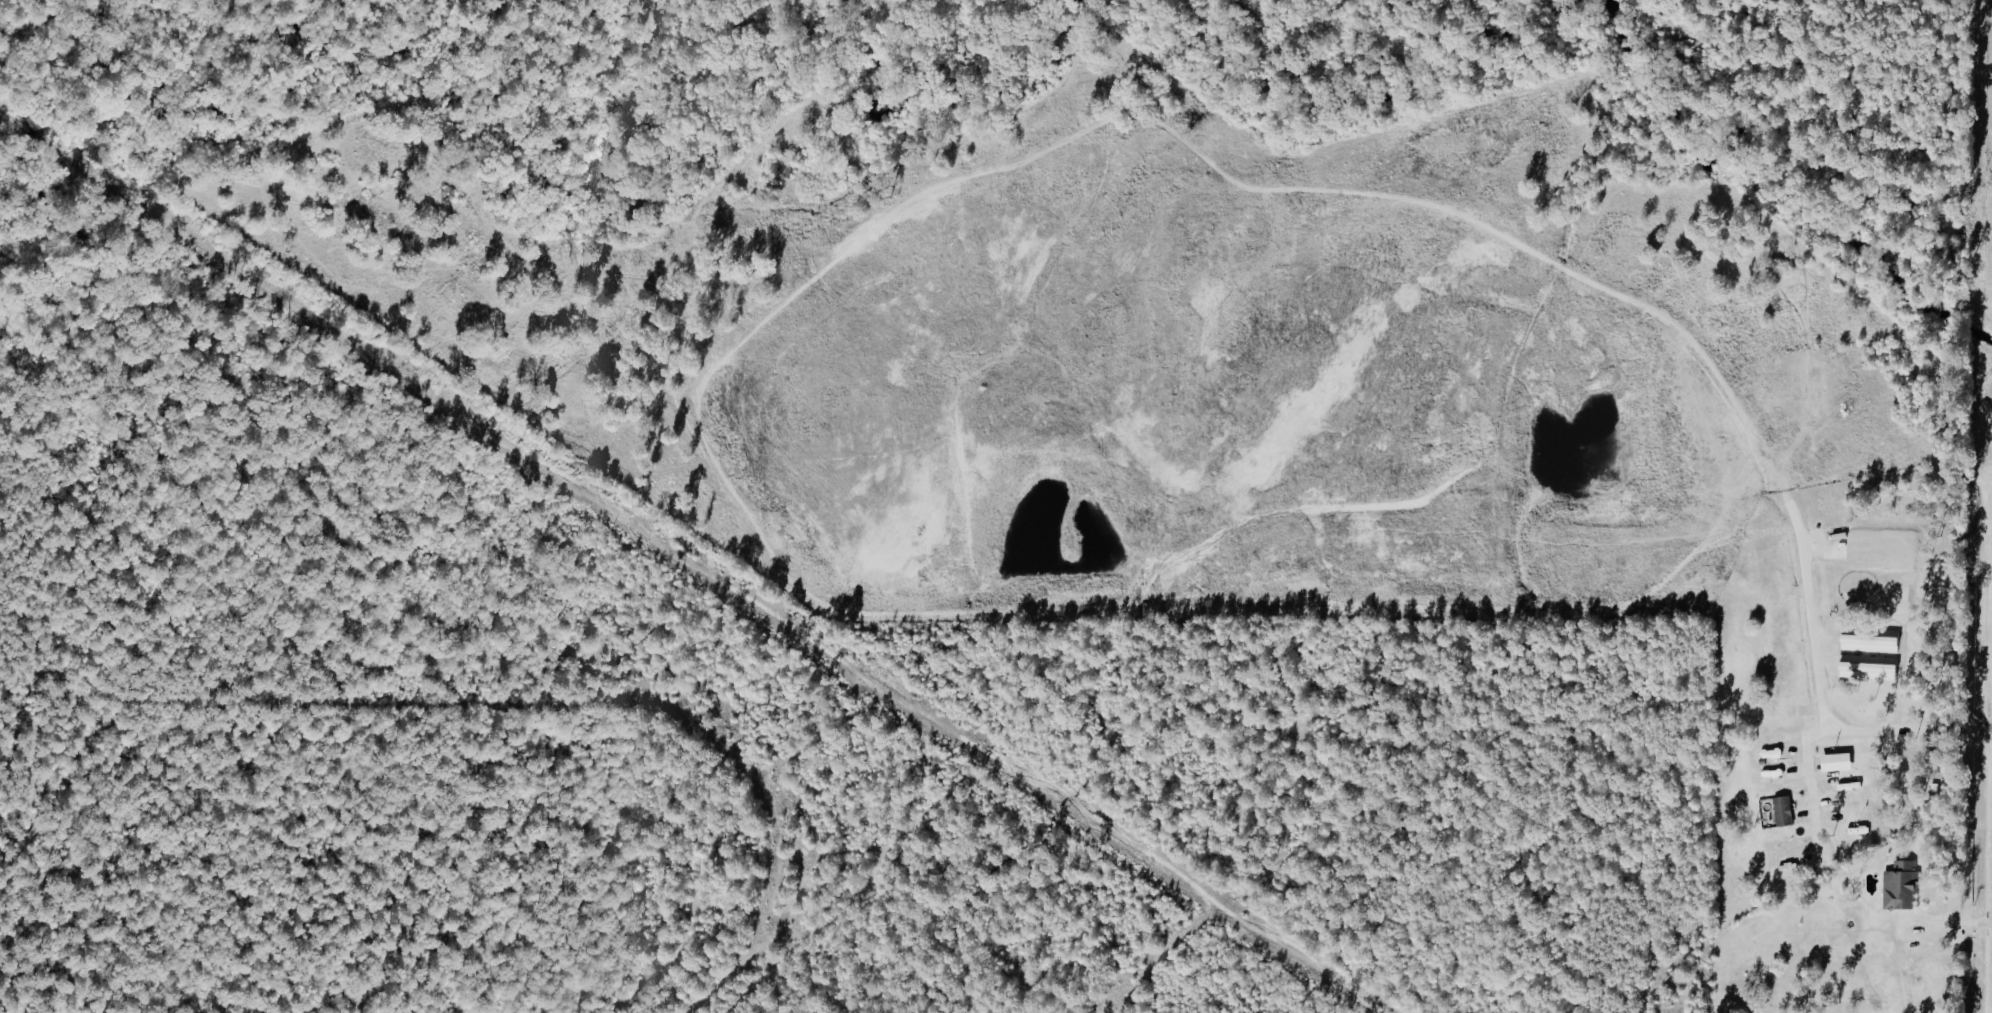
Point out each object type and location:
building: (1866, 643)
building: (1865, 670)
road: (1815, 728)
building: (1839, 762)
building: (1784, 811)
building: (1902, 885)
road: (1948, 924)

